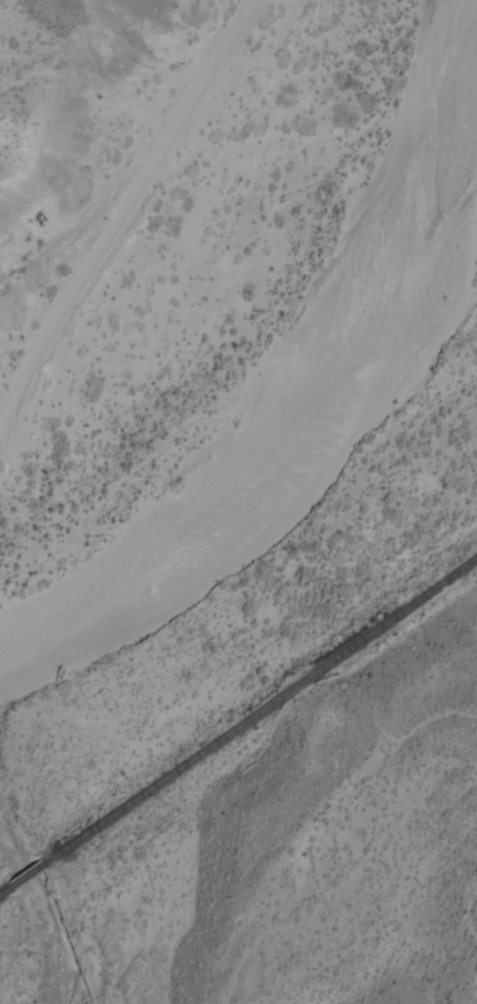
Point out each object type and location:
road: (122, 210)
river: (319, 391)
railway: (259, 709)
railway: (24, 877)
railway: (3, 892)

